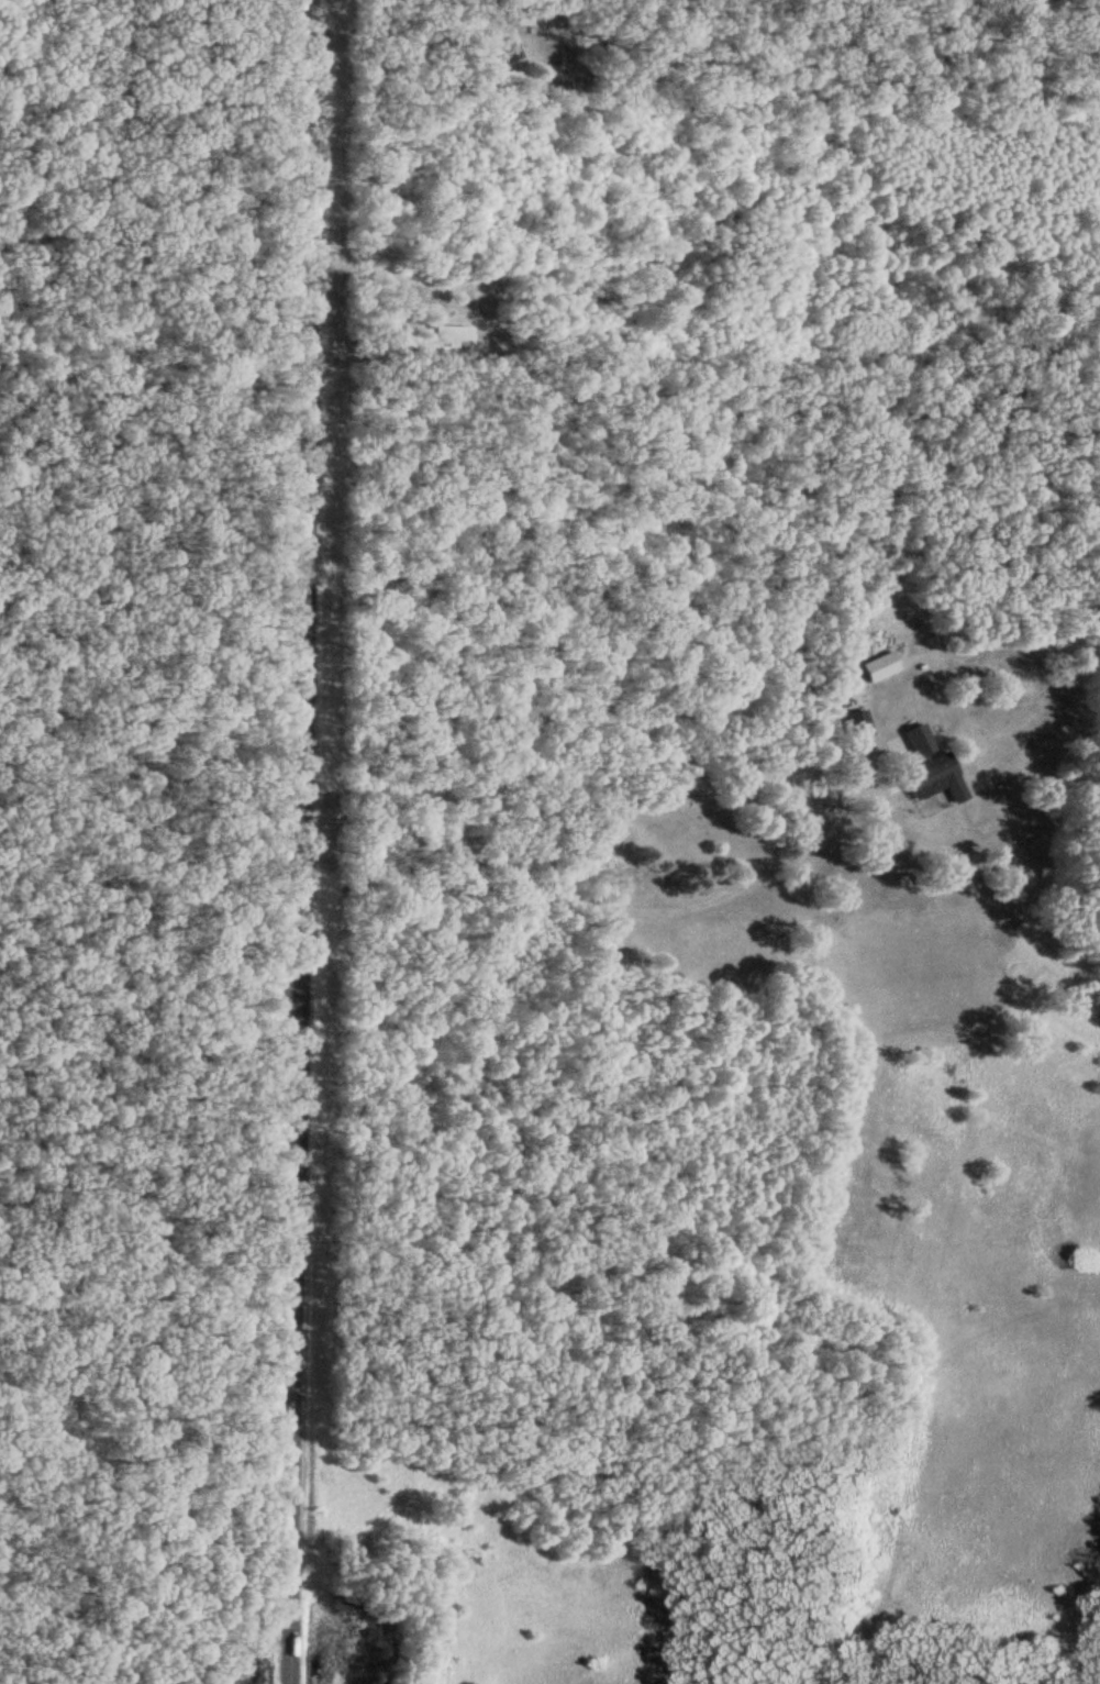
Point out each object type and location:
building: (536, 18)
building: (453, 332)
building: (882, 664)
building: (927, 763)
road: (302, 842)

